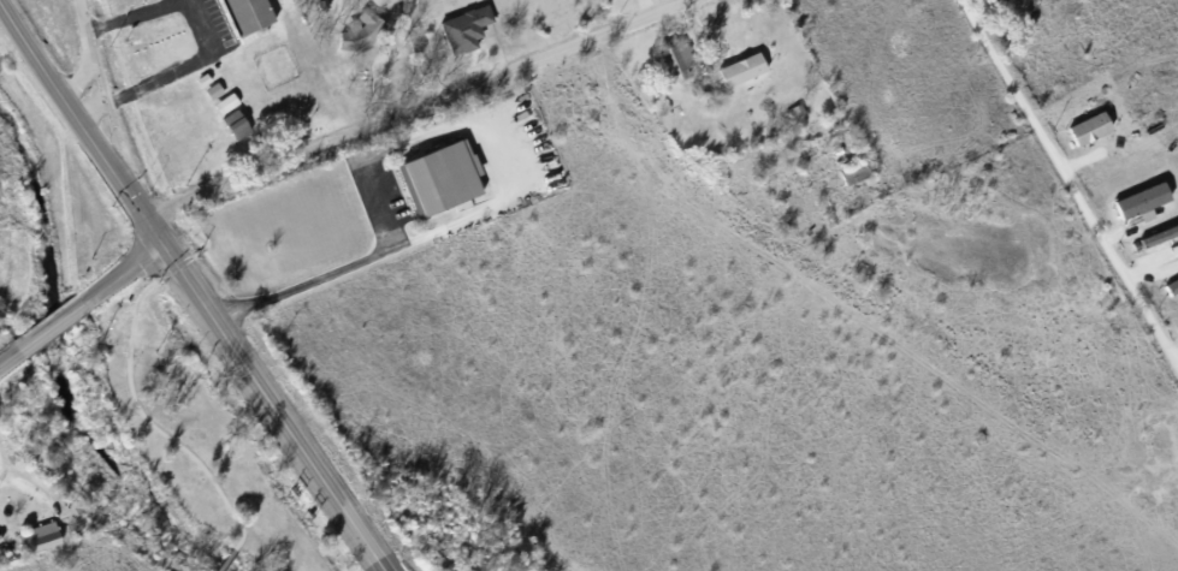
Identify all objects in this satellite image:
road: (125, 14)
building: (239, 19)
building: (460, 34)
building: (355, 36)
road: (421, 50)
road: (87, 69)
road: (177, 69)
building: (663, 70)
building: (735, 77)
building: (197, 85)
building: (209, 95)
road: (132, 100)
building: (229, 102)
road: (418, 108)
building: (221, 109)
building: (241, 123)
building: (1085, 127)
building: (231, 130)
road: (380, 153)
building: (437, 183)
road: (1072, 183)
building: (1139, 201)
park: (22, 230)
traffic signals: (161, 242)
road: (125, 268)
road: (193, 286)
road: (54, 320)
road: (10, 353)
road: (125, 381)
road: (19, 484)
building: (46, 534)
building: (0, 540)
building: (32, 545)

